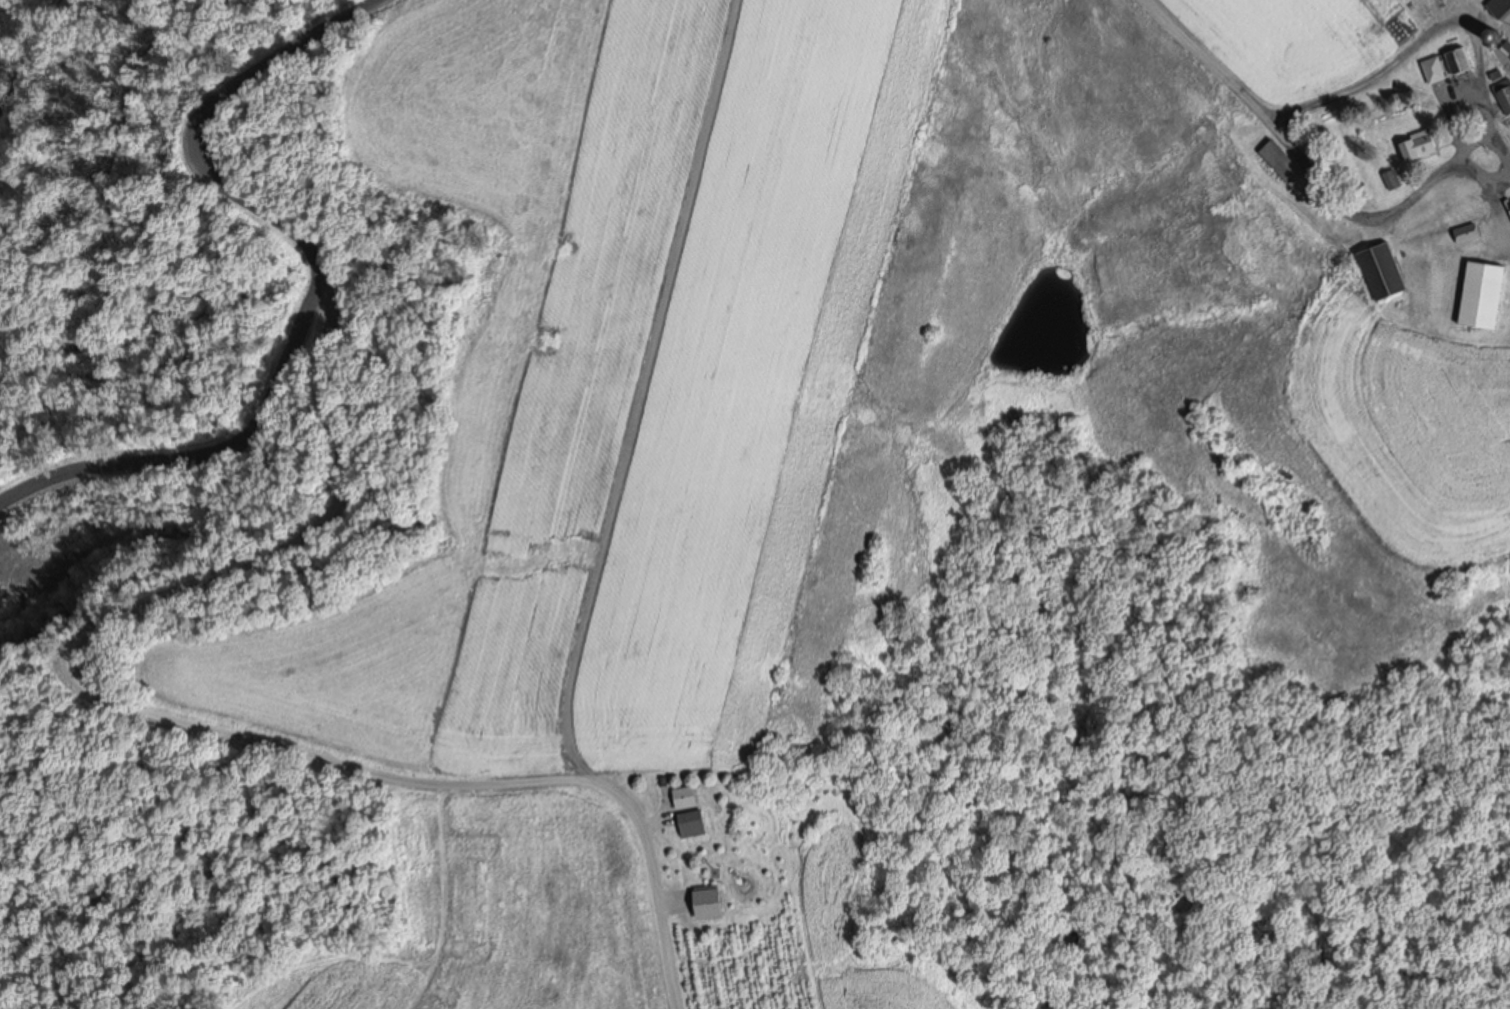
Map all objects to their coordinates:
building: (1501, 8)
building: (1499, 38)
building: (1460, 60)
building: (1435, 69)
building: (1503, 94)
road: (195, 128)
road: (1287, 147)
building: (1422, 147)
road: (1505, 158)
building: (1282, 161)
building: (1393, 179)
building: (1385, 269)
building: (1484, 294)
road: (202, 452)
road: (175, 718)
building: (691, 809)

